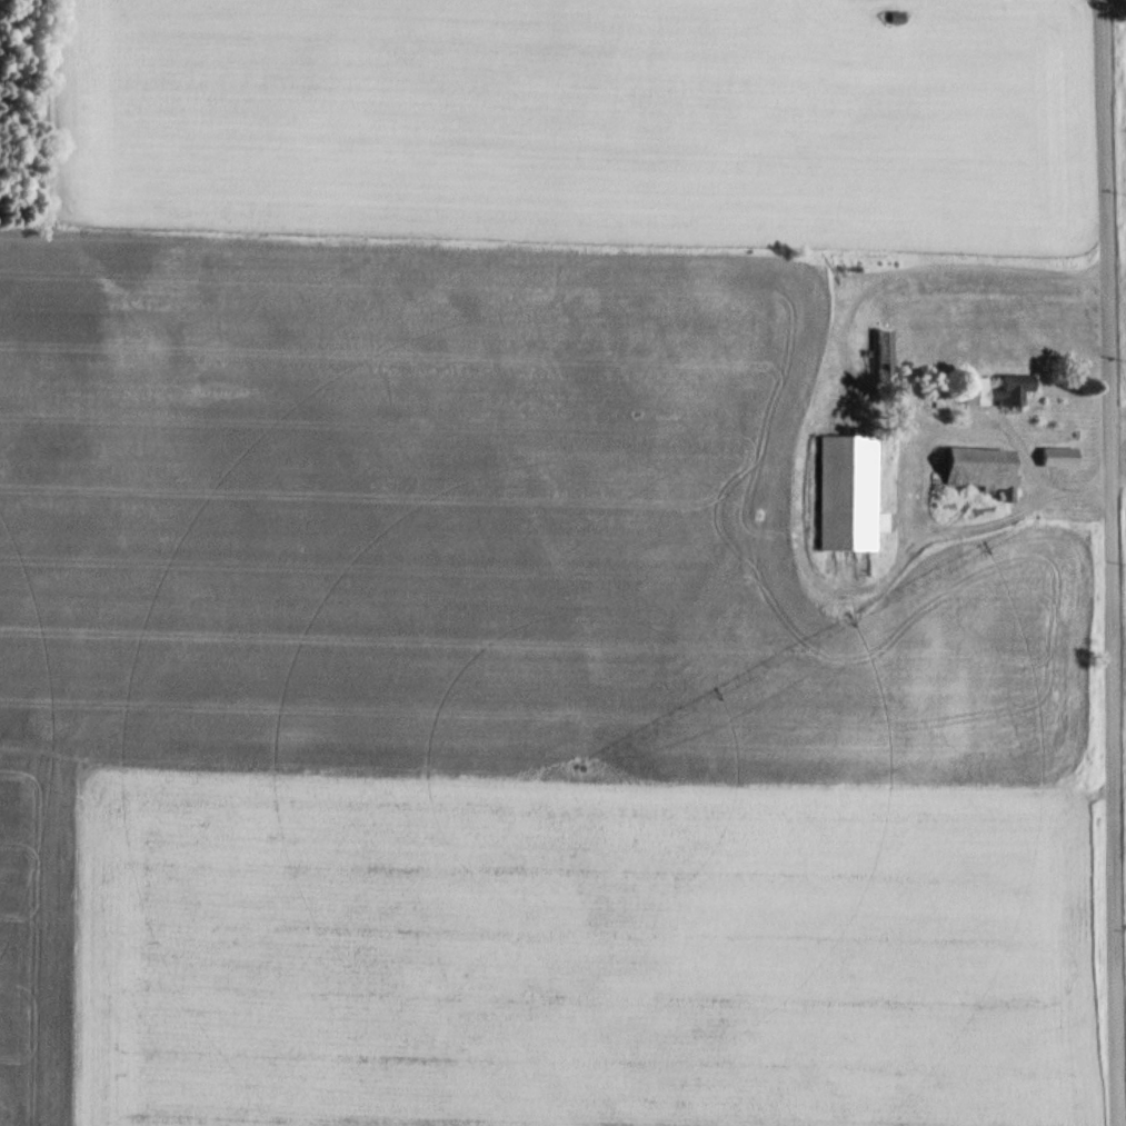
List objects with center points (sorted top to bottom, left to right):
building: (896, 18)
building: (1013, 390)
building: (1060, 457)
building: (984, 469)
building: (848, 494)
road: (1108, 562)

